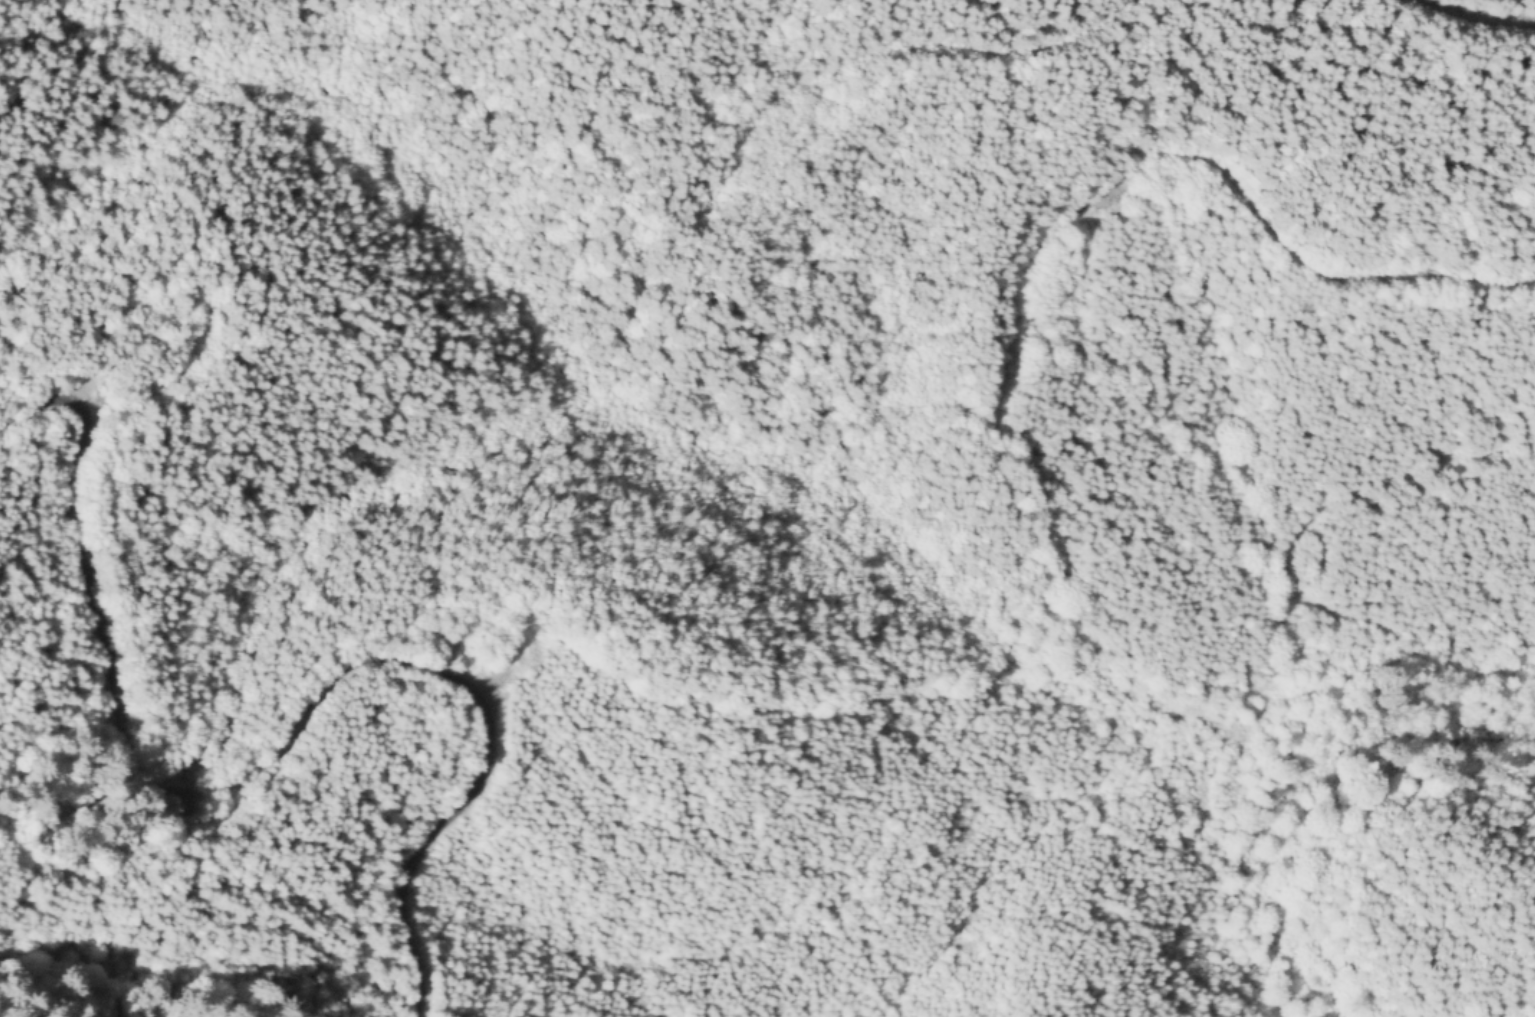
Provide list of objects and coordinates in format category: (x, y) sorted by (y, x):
road: (1476, 18)
road: (1079, 39)
road: (1213, 168)
road: (1298, 540)
road: (267, 766)

